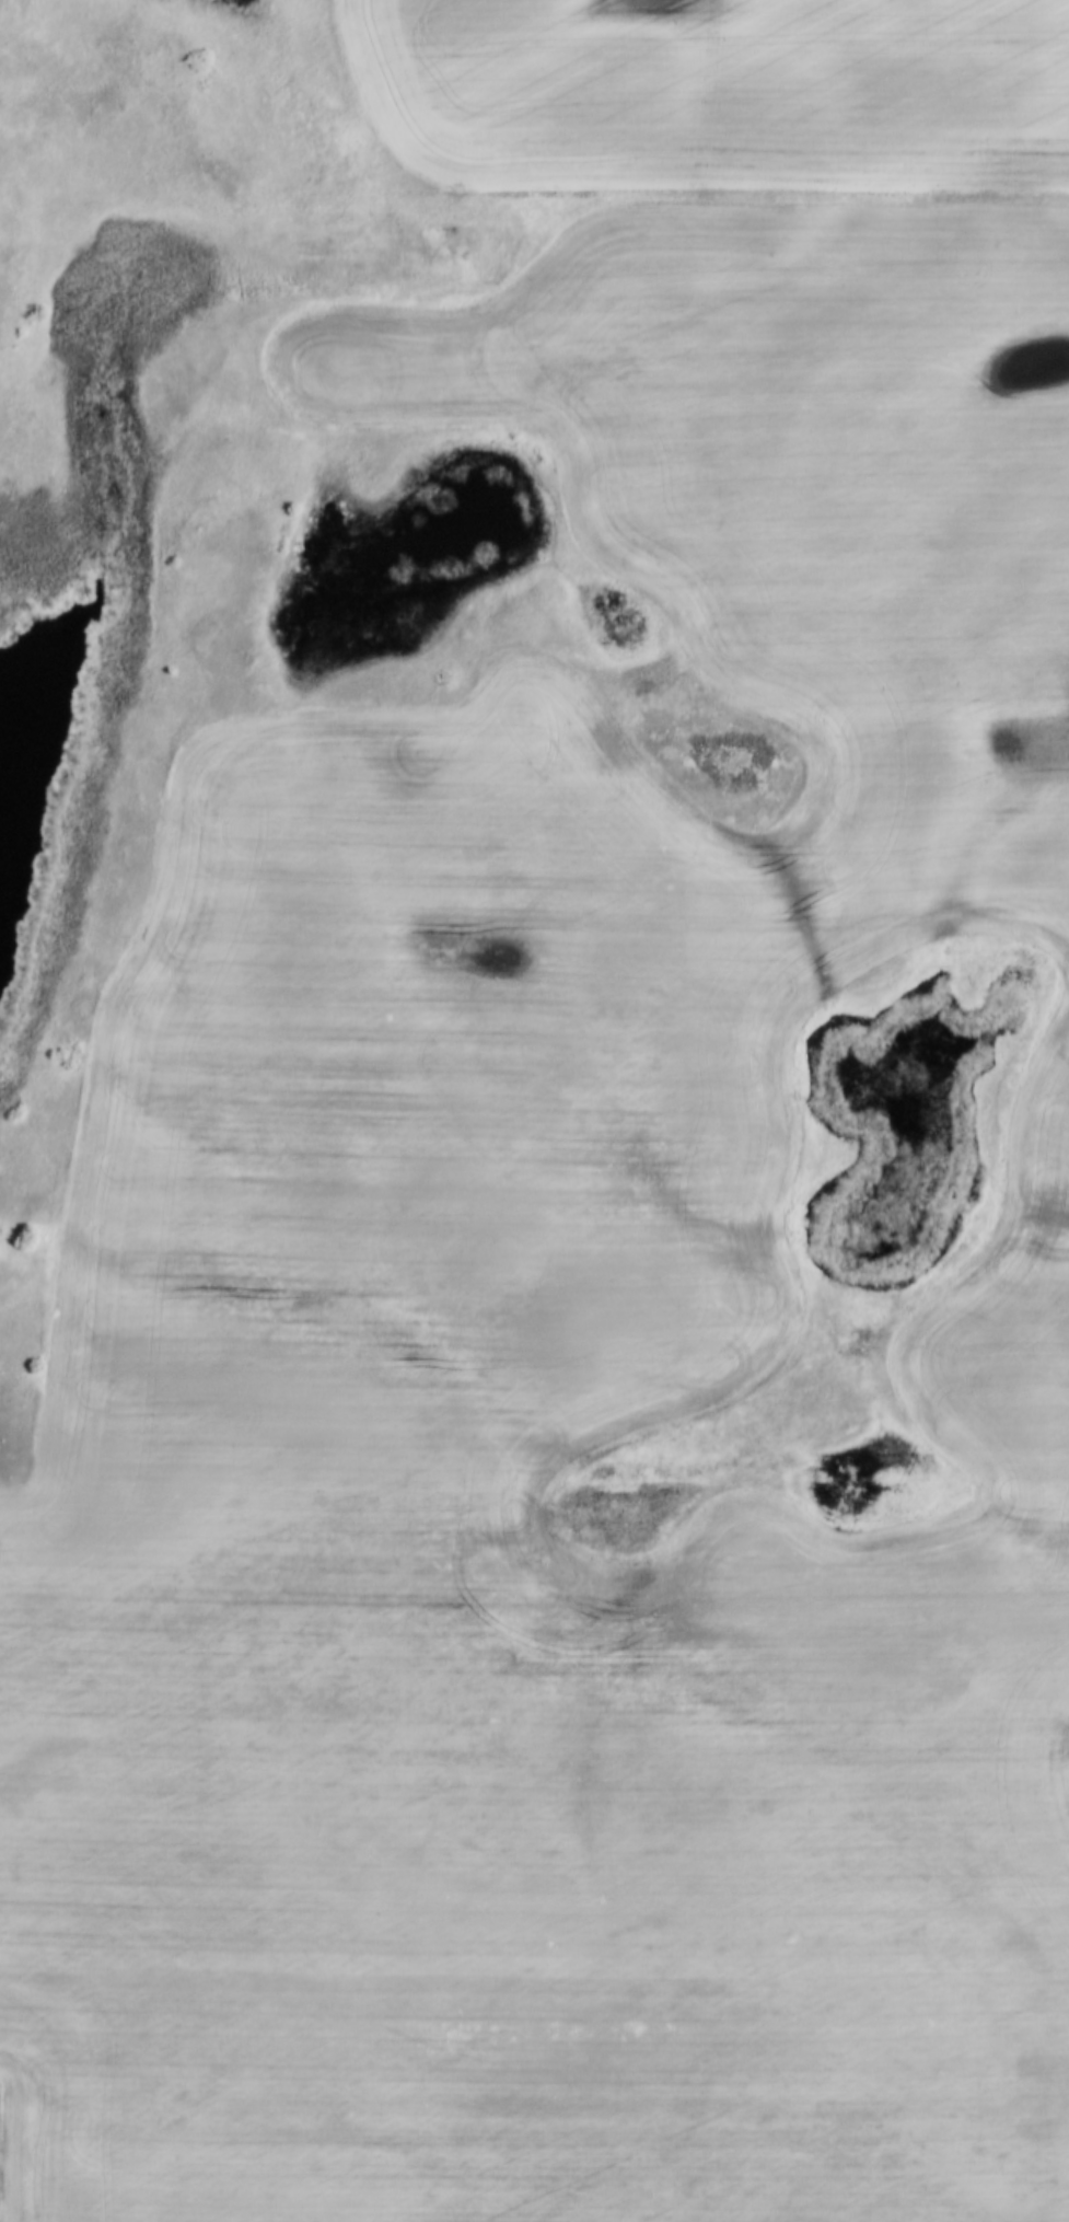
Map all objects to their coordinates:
park: (0, 2144)

